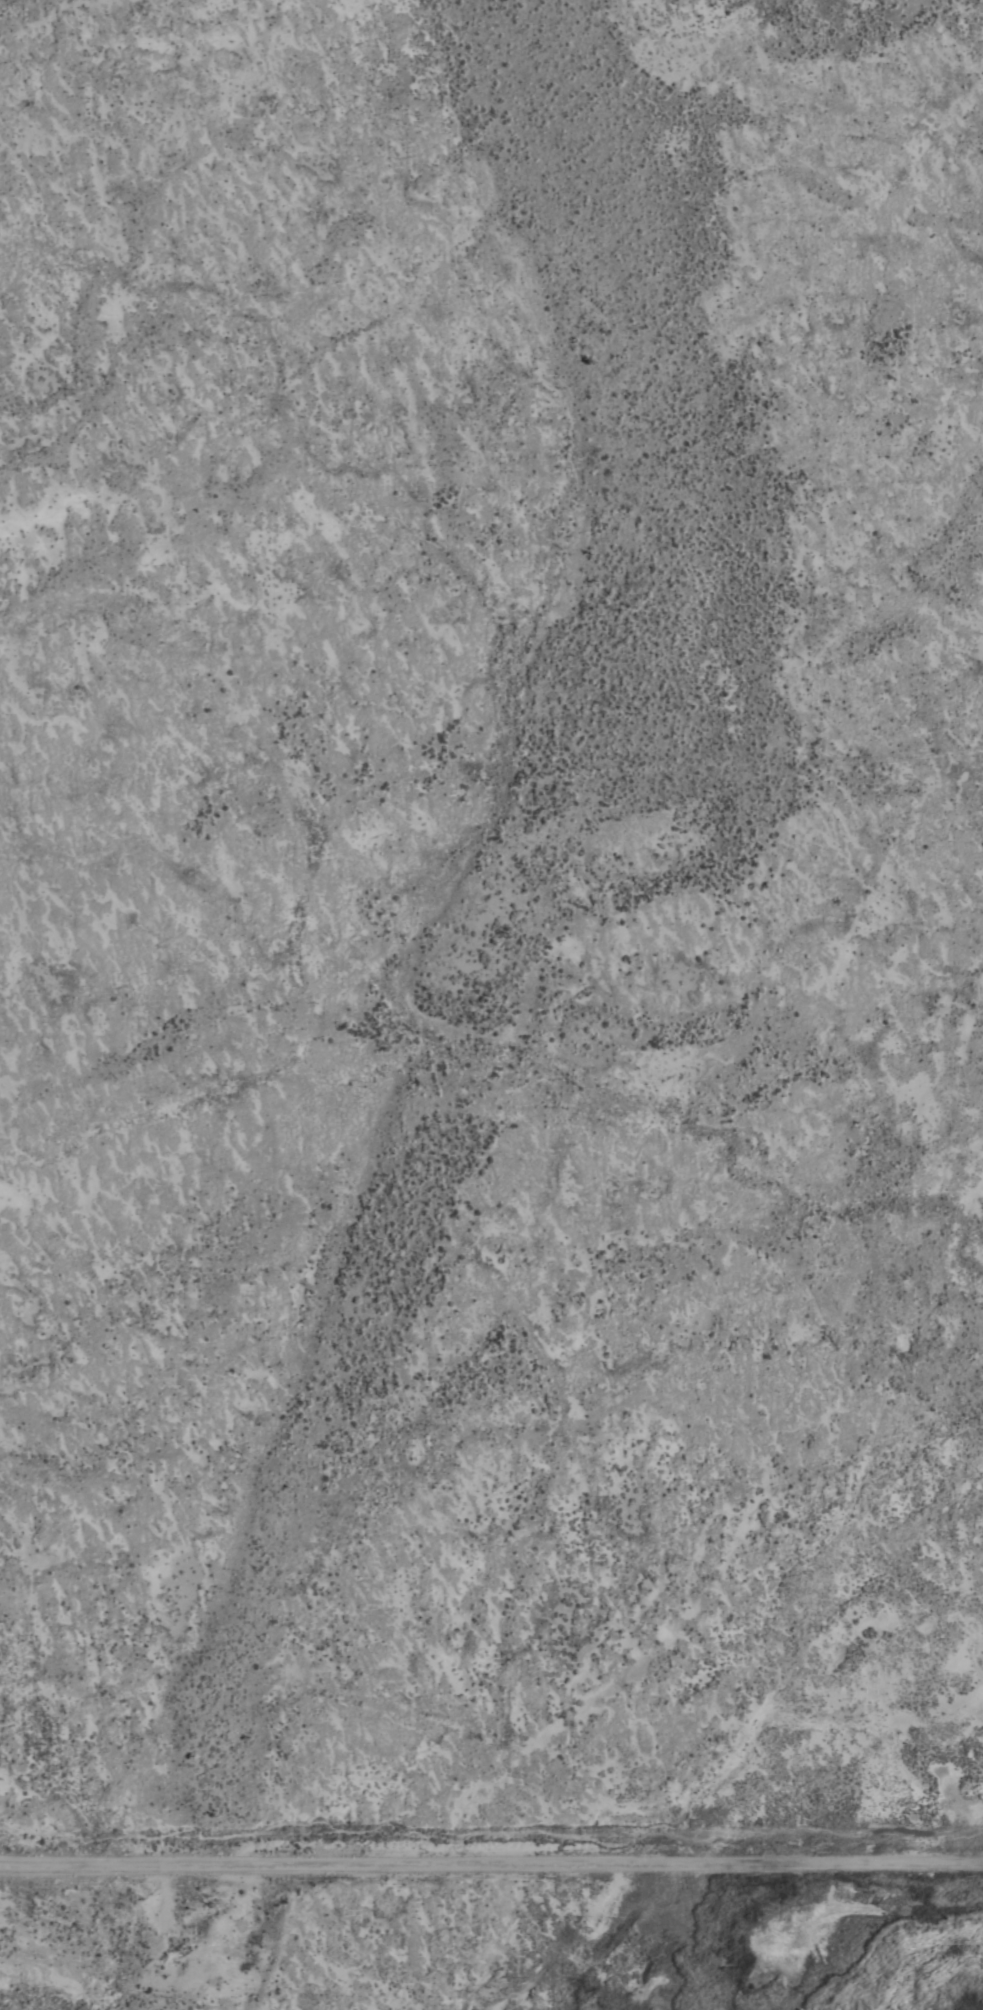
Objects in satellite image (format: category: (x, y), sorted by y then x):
road: (491, 1868)

